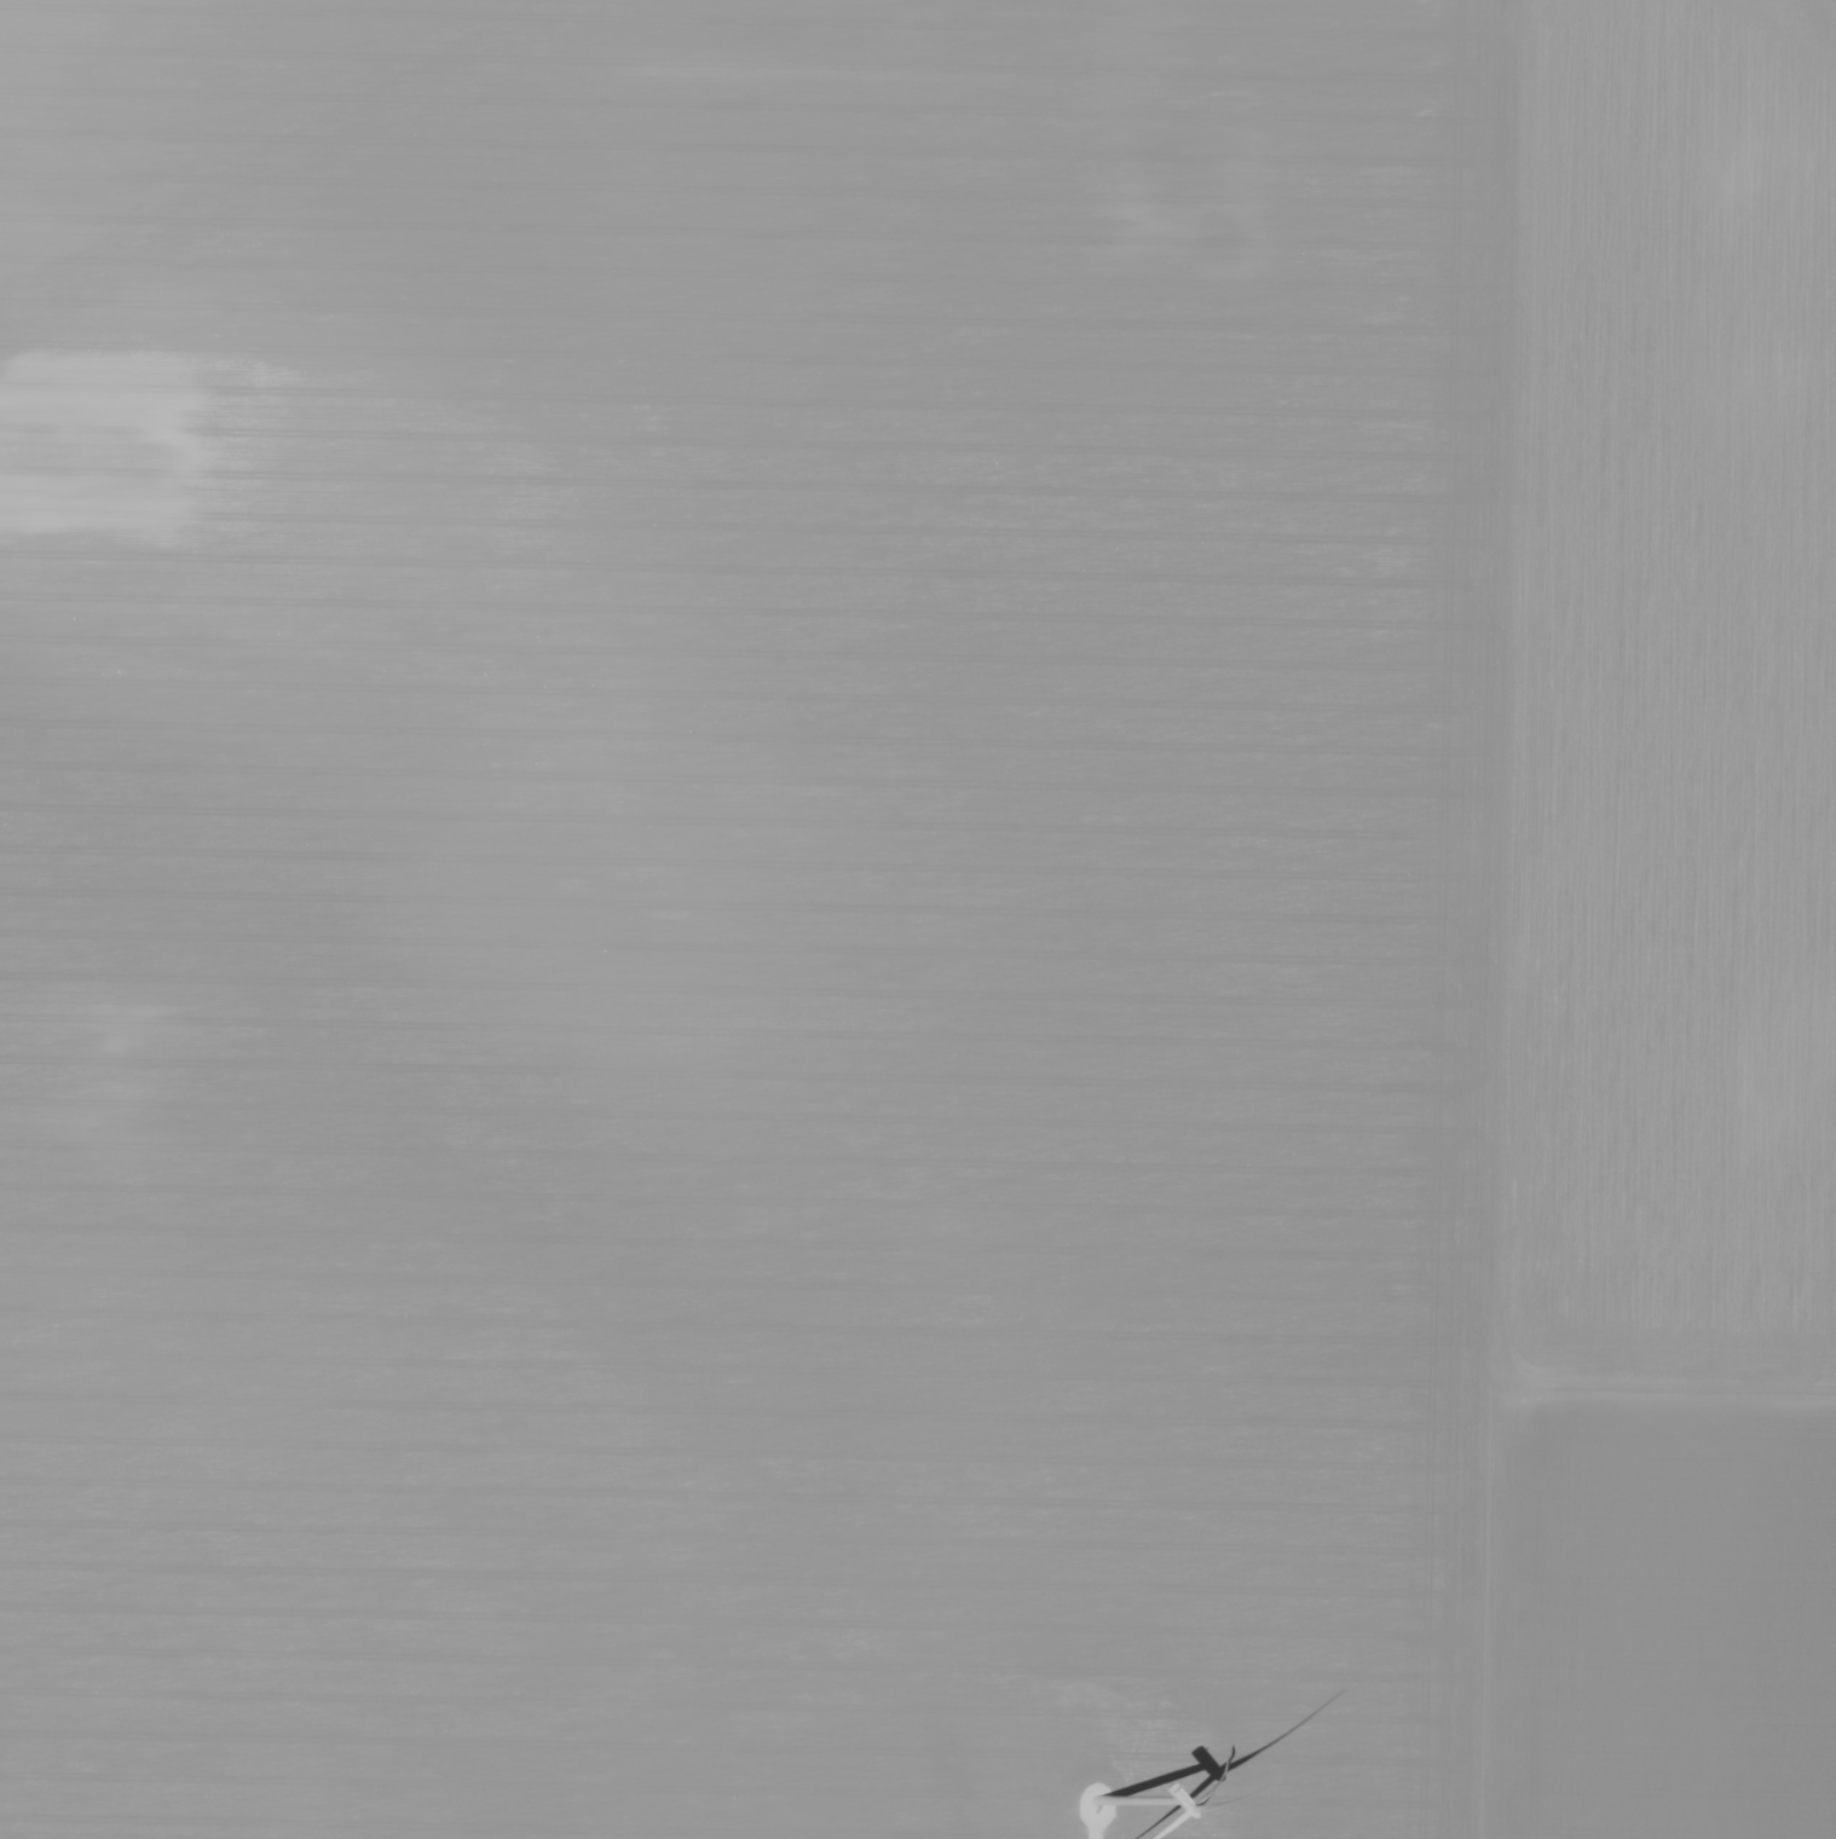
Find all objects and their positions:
wind turbine: (1103, 1798)

